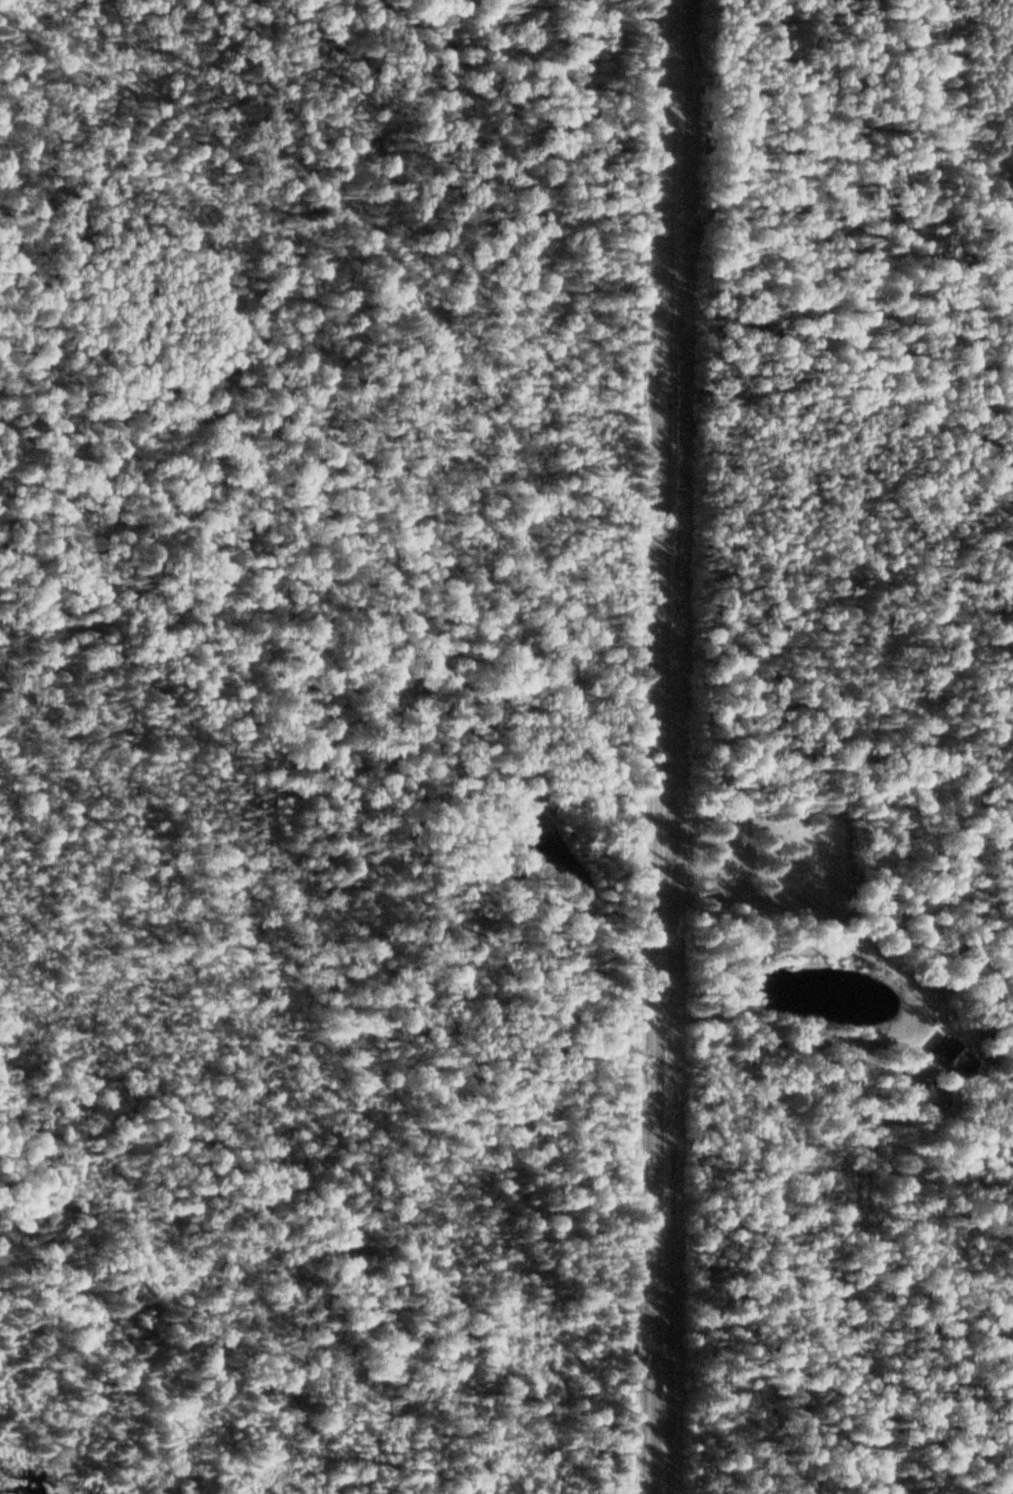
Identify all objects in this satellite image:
road: (668, 747)
park: (770, 858)
building: (961, 1062)

